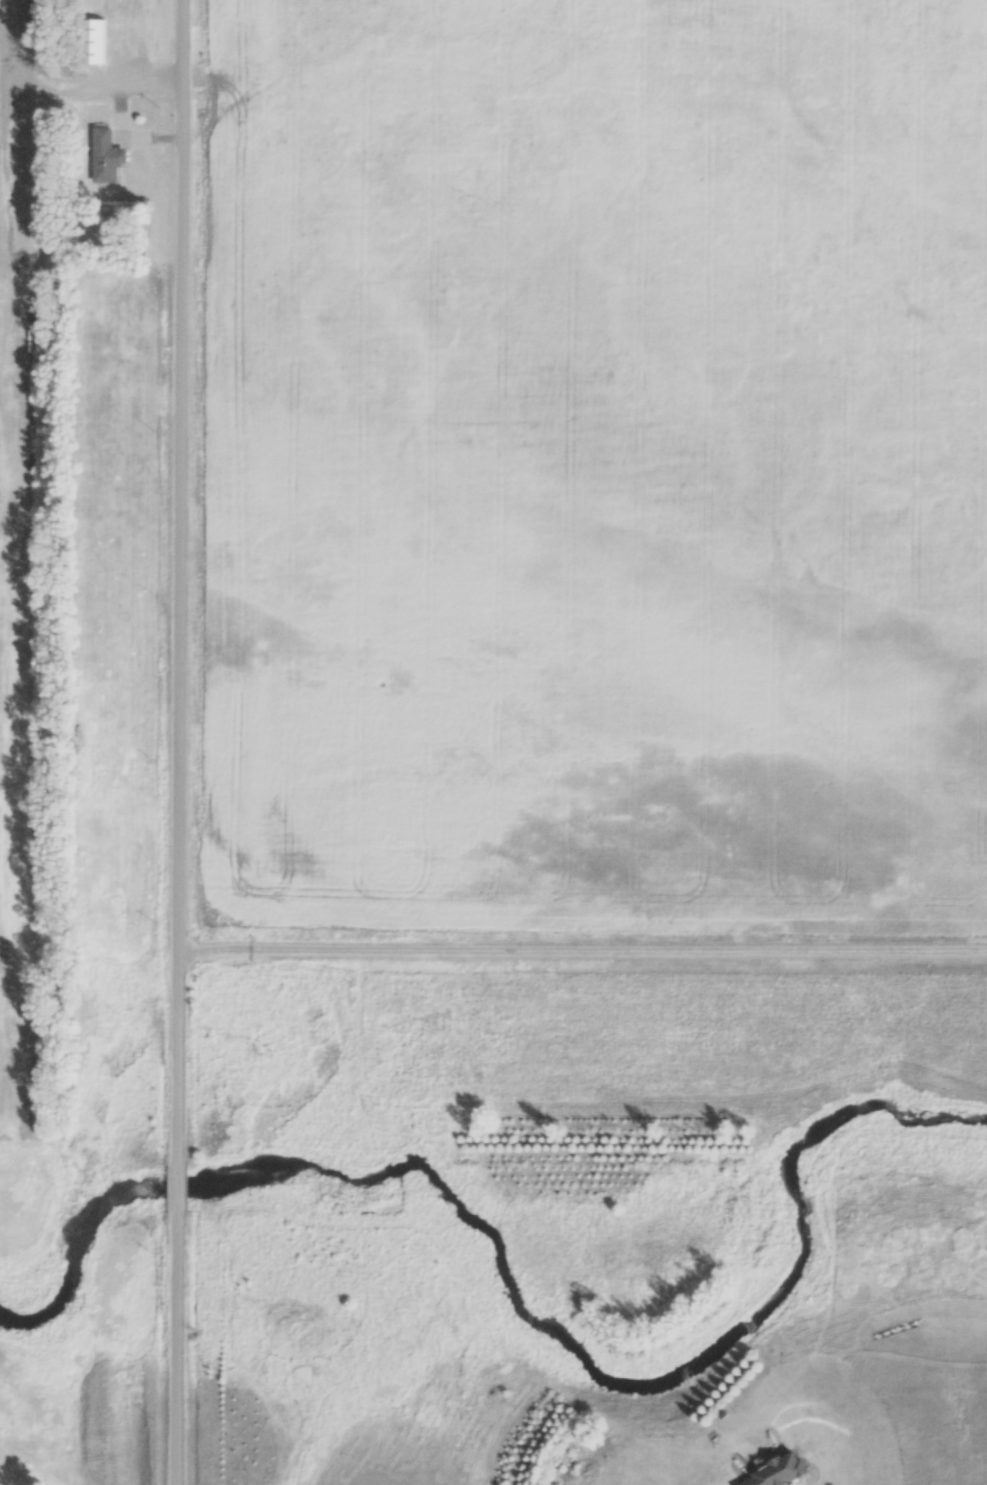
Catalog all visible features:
building: (94, 44)
building: (105, 157)
road: (178, 742)
road: (582, 946)
building: (777, 1474)

